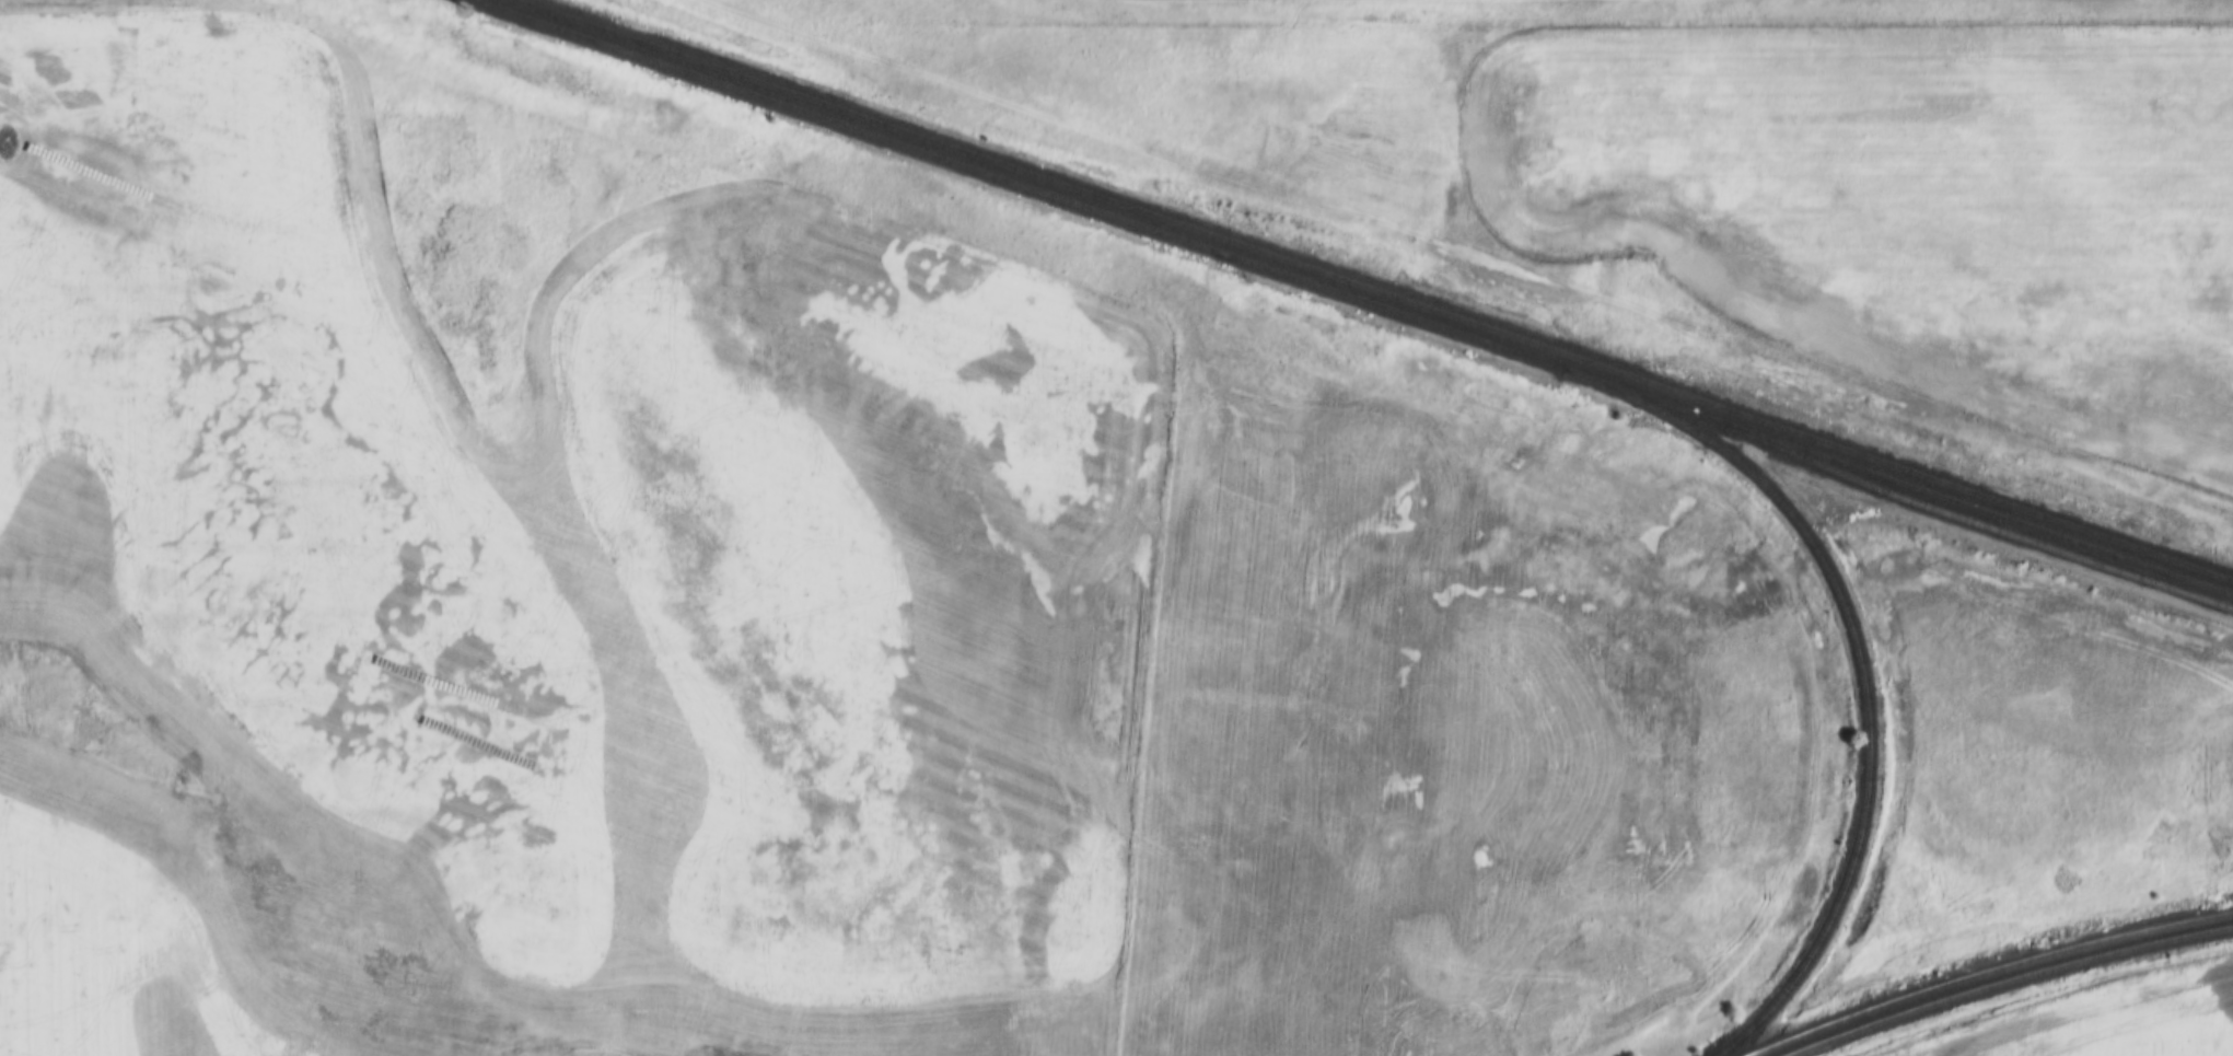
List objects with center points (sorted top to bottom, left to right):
railway: (1374, 291)
railway: (1349, 299)
railway: (1857, 666)
railway: (1989, 972)

